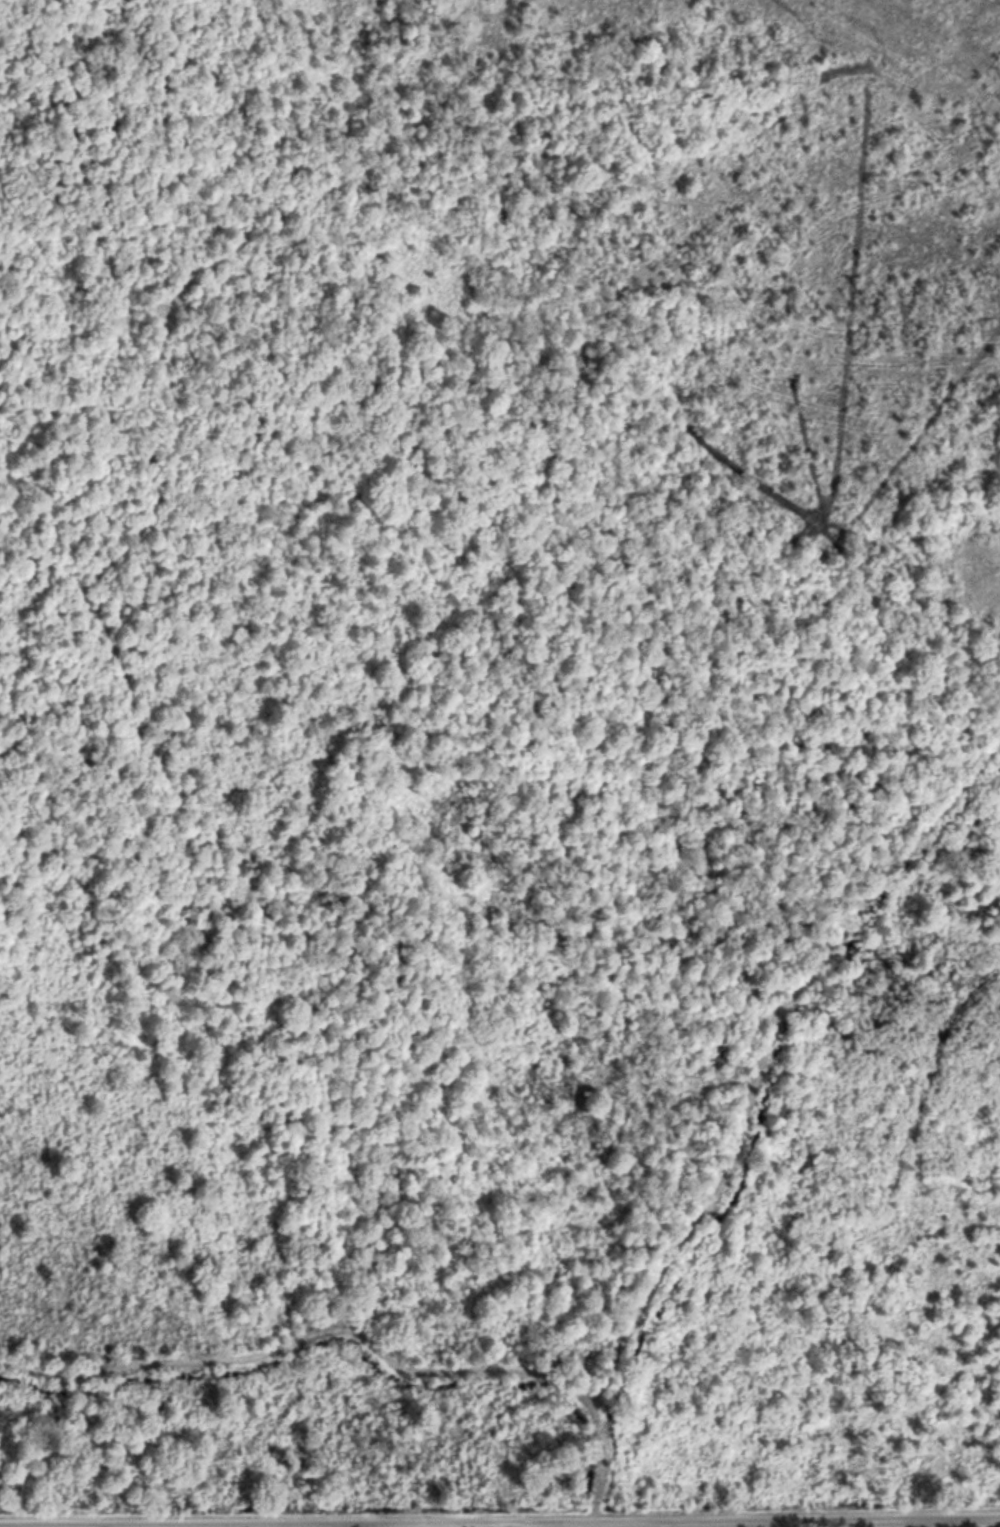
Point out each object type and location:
road: (762, 1107)
road: (500, 1524)

